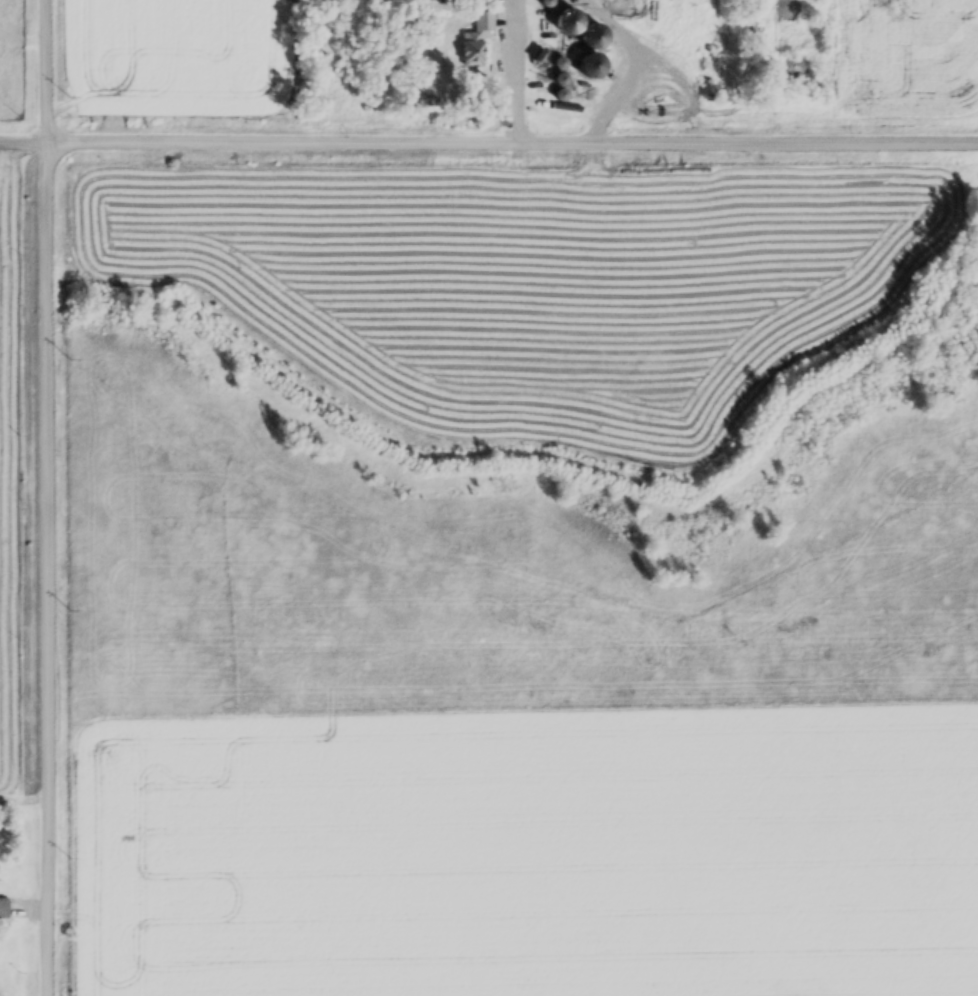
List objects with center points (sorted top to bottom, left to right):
building: (485, 23)
building: (596, 39)
road: (632, 63)
road: (48, 68)
building: (595, 68)
road: (521, 69)
road: (24, 136)
road: (512, 138)
road: (50, 566)

